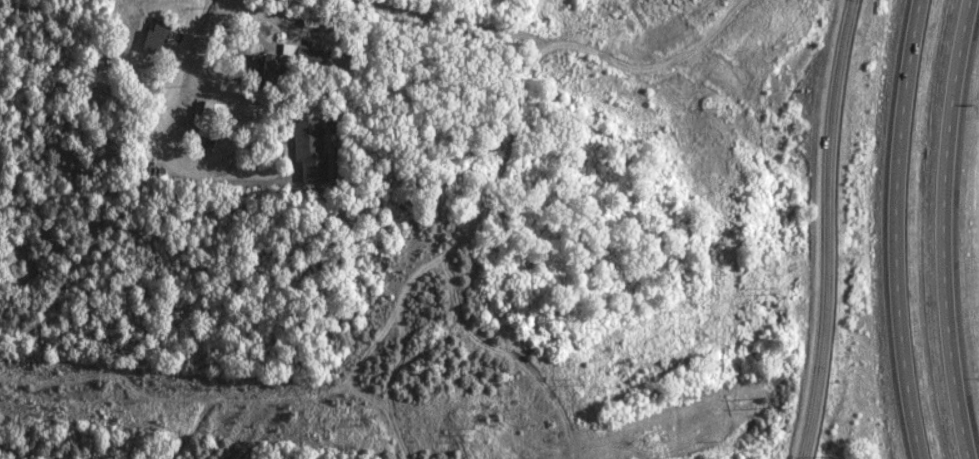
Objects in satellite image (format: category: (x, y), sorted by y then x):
building: (153, 37)
building: (289, 61)
road: (177, 63)
building: (205, 119)
building: (310, 149)
road: (827, 229)
road: (897, 229)
road: (942, 229)
power tower: (770, 290)
power tower: (578, 381)
power tower: (763, 403)
power tower: (373, 424)
power tower: (473, 434)

